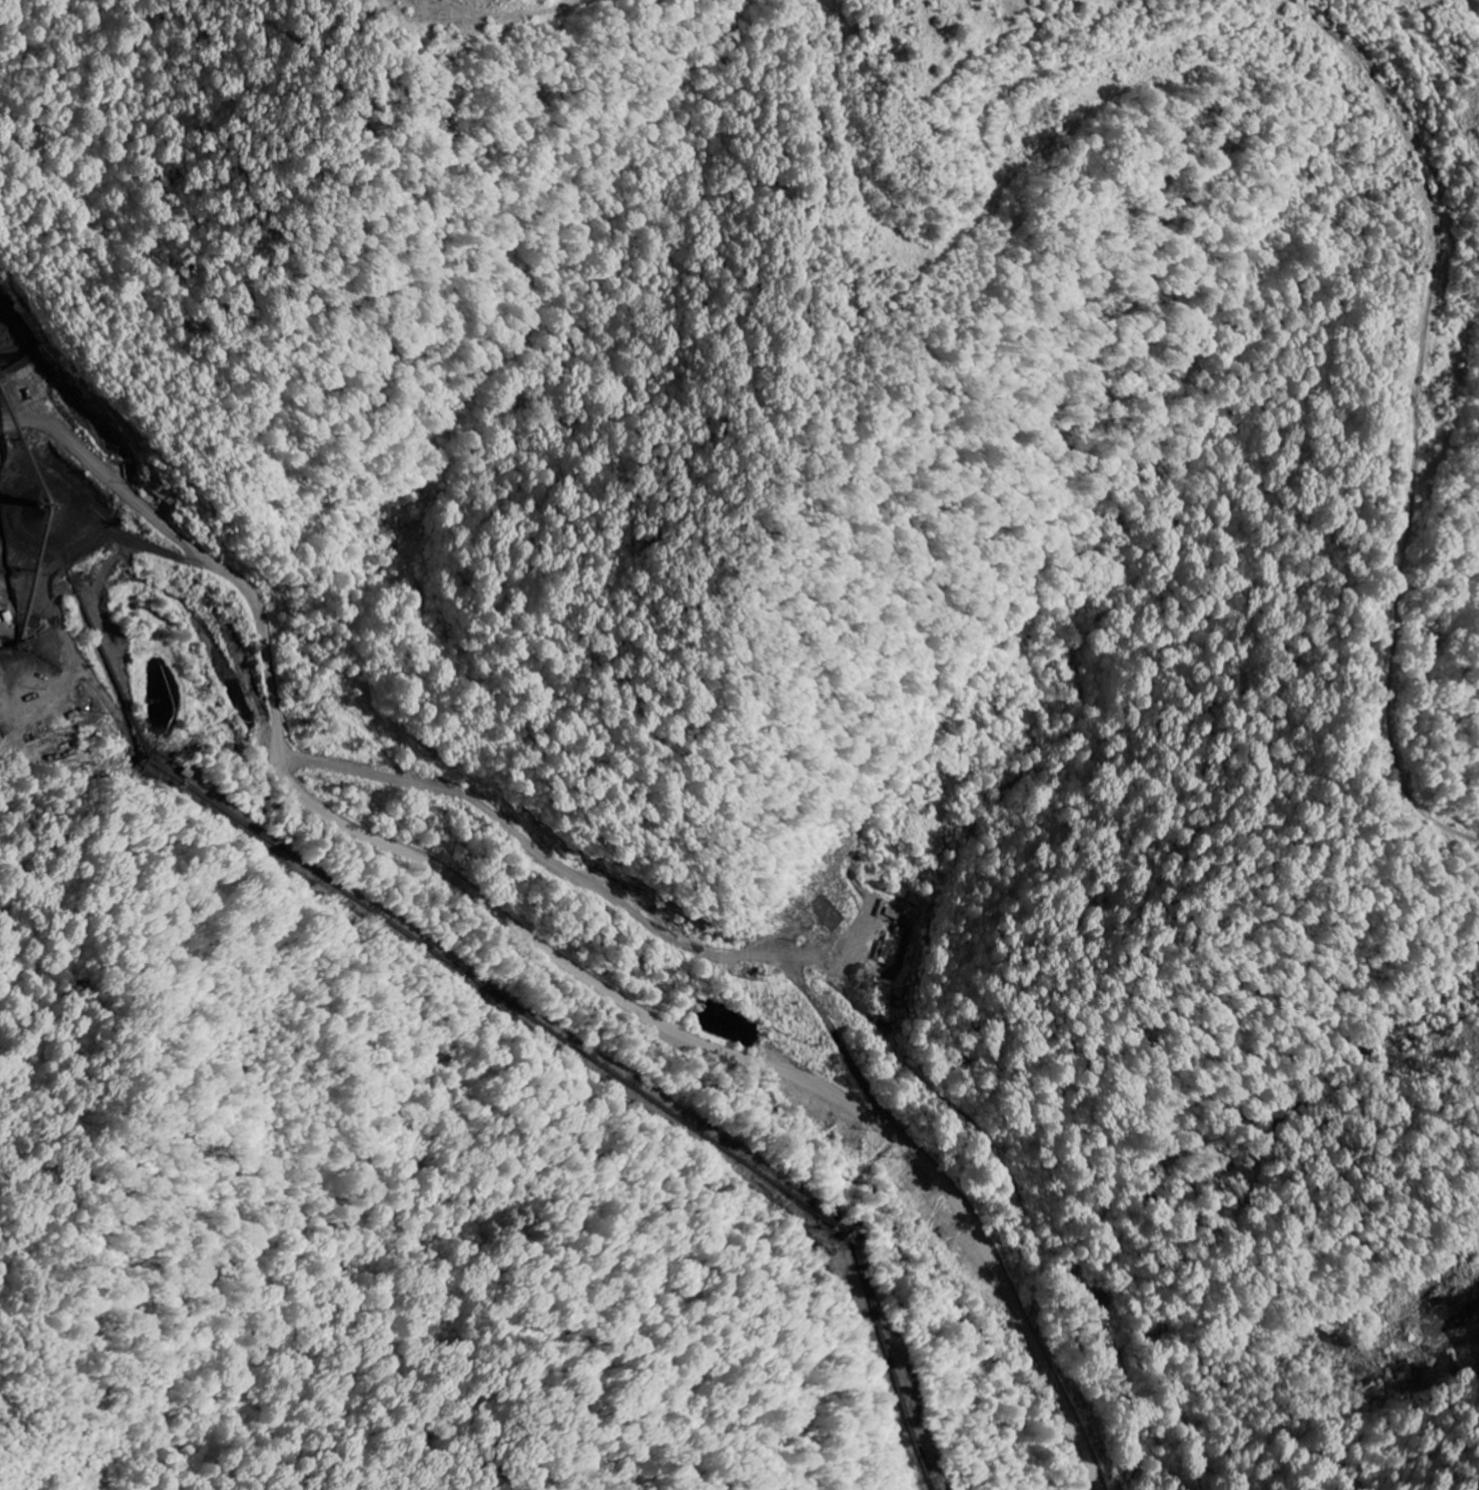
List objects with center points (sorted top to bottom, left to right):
road: (576, 889)
building: (892, 939)
road: (830, 1163)
road: (765, 1283)

